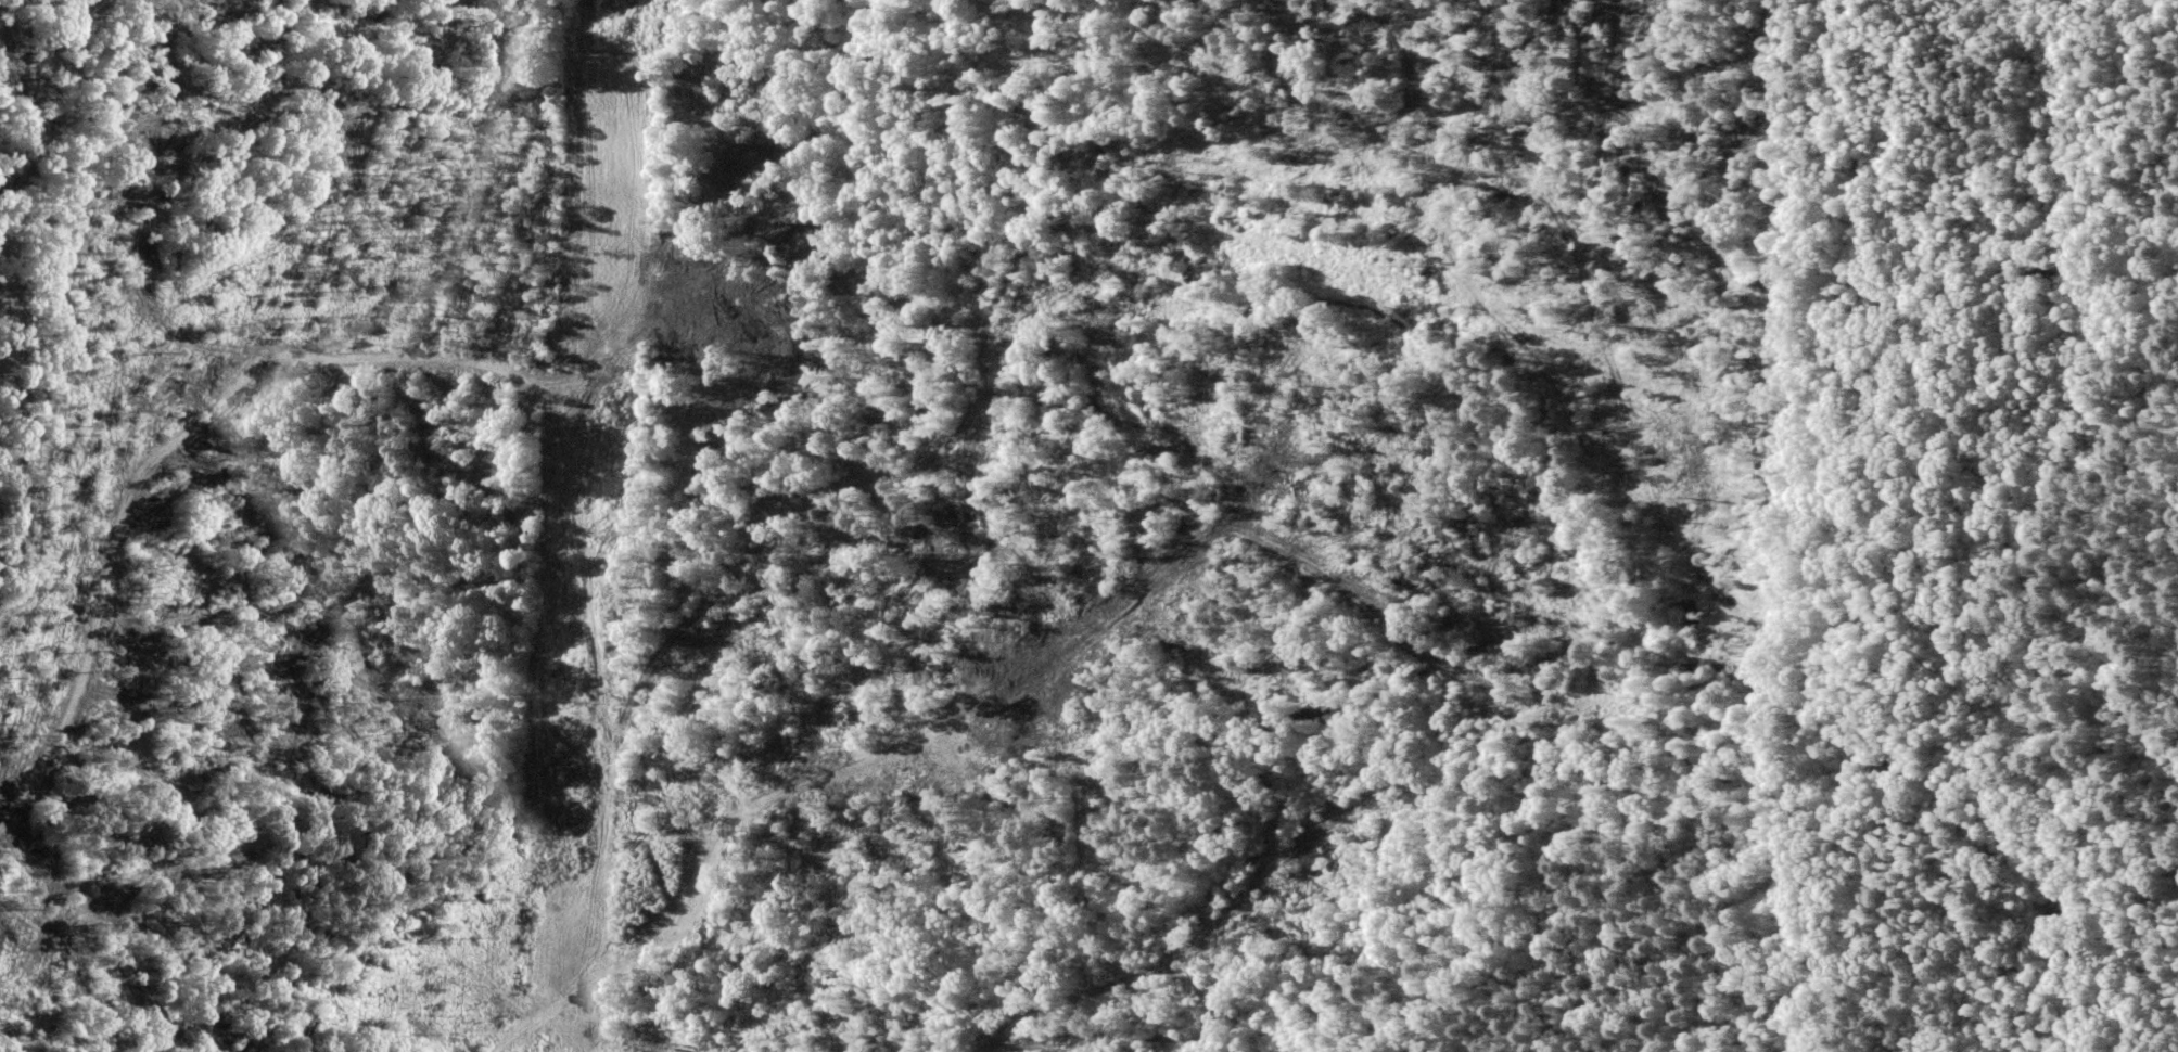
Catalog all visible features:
power tower: (578, 695)

